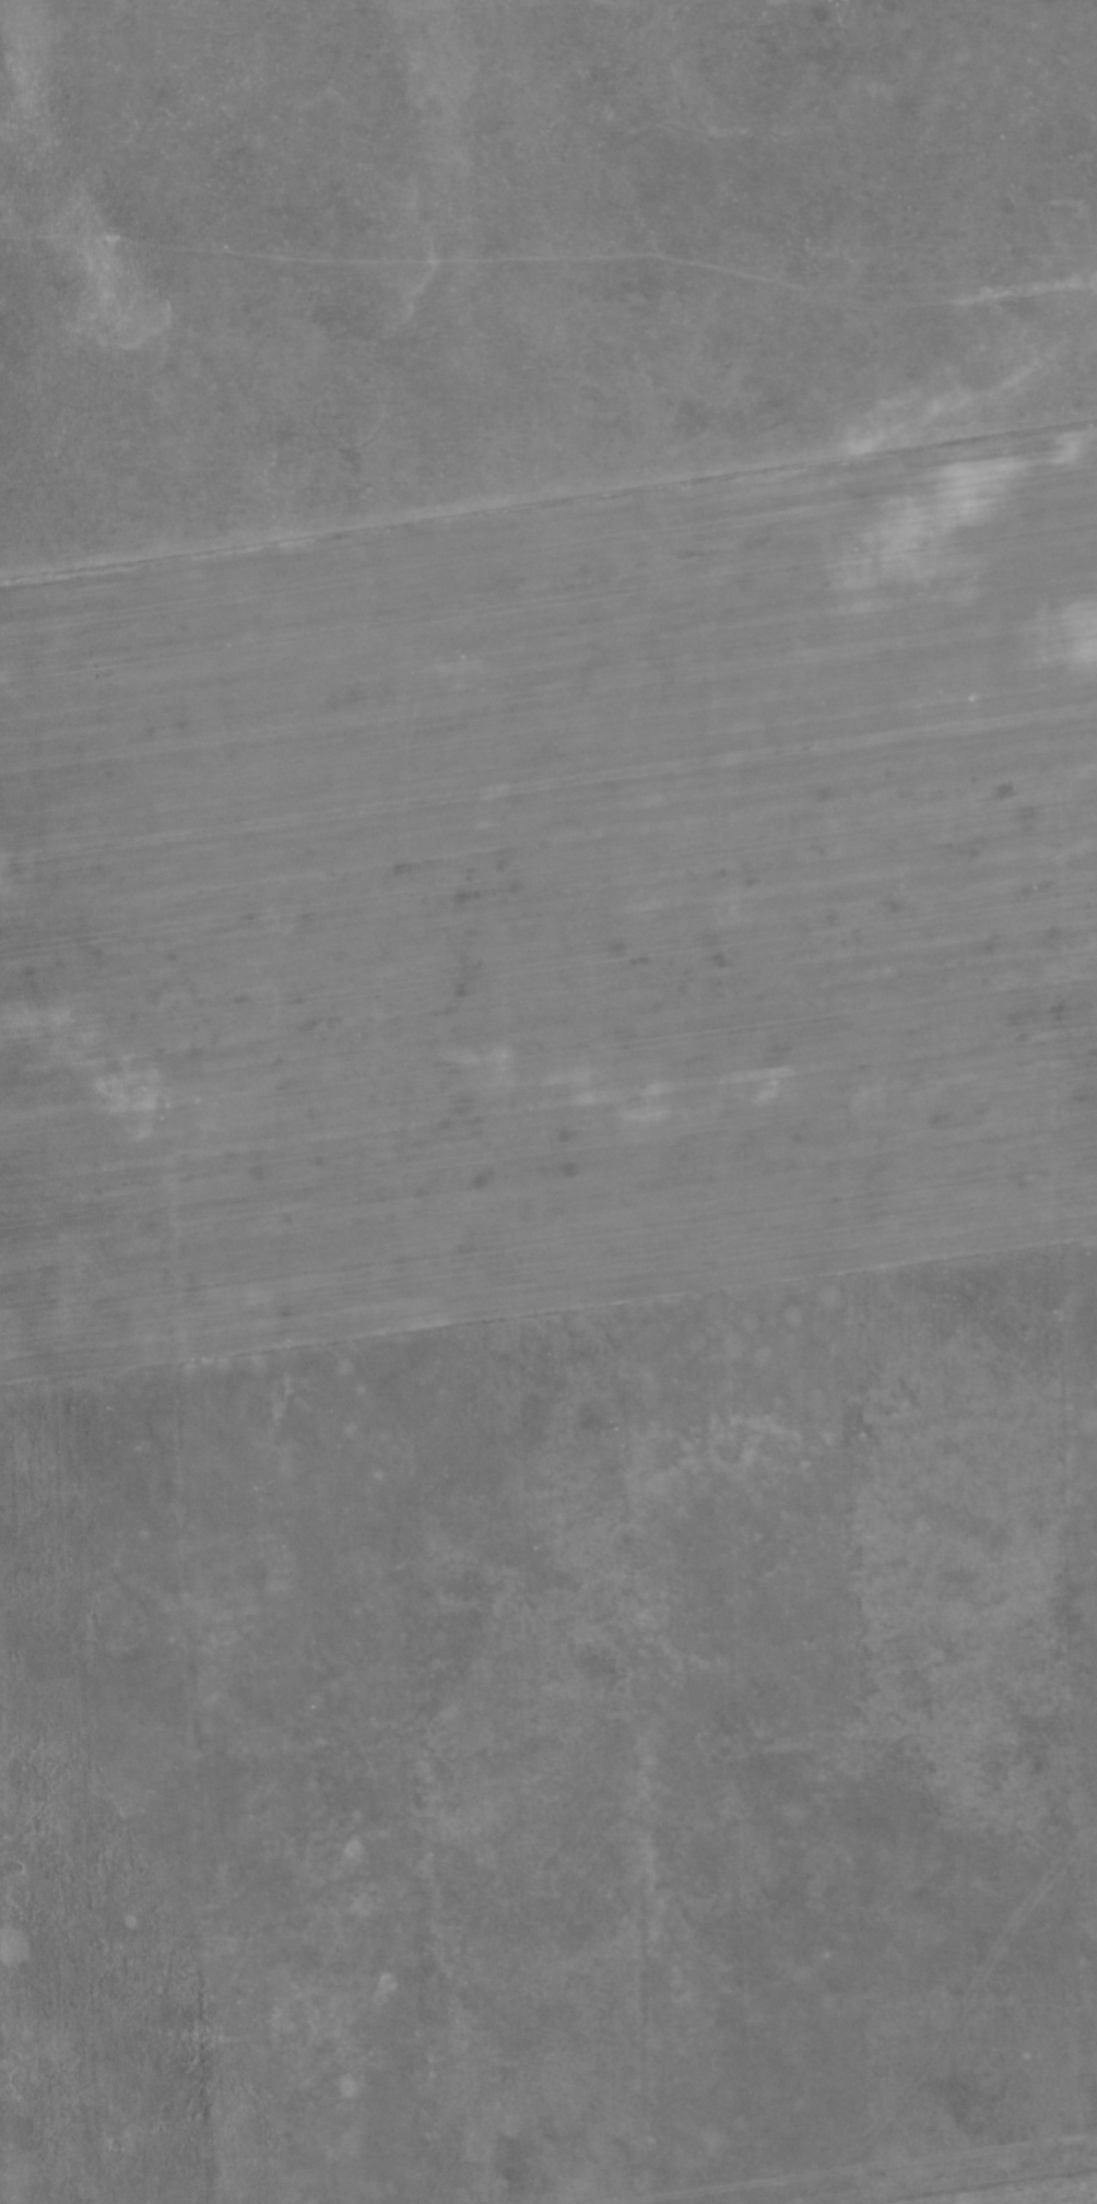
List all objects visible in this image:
road: (975, 2185)

